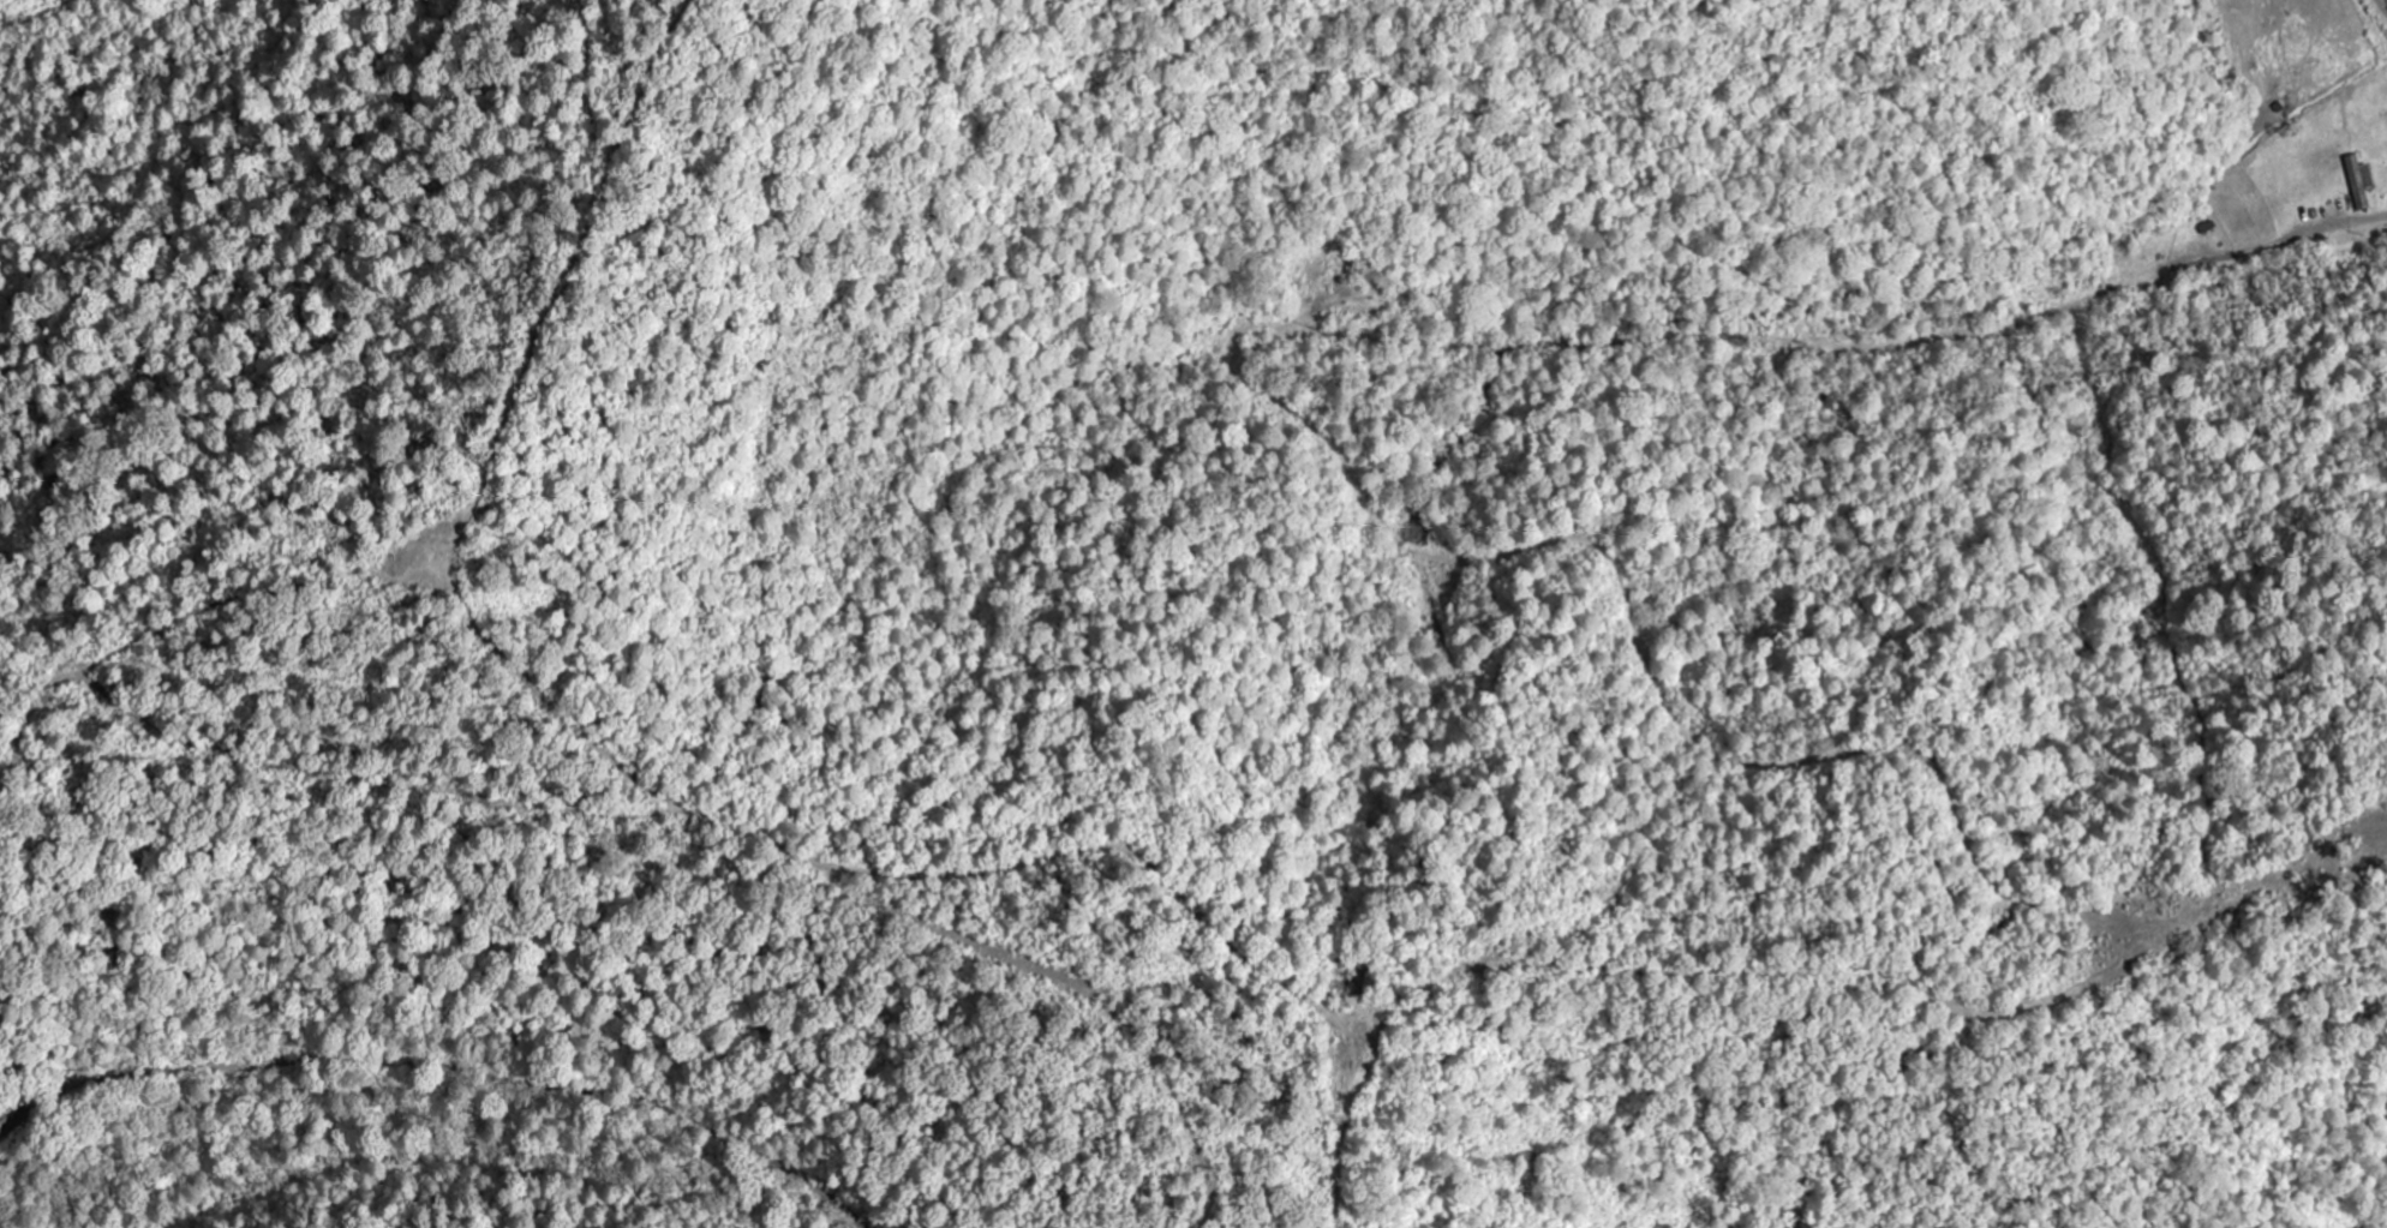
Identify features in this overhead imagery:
building: (2361, 181)

